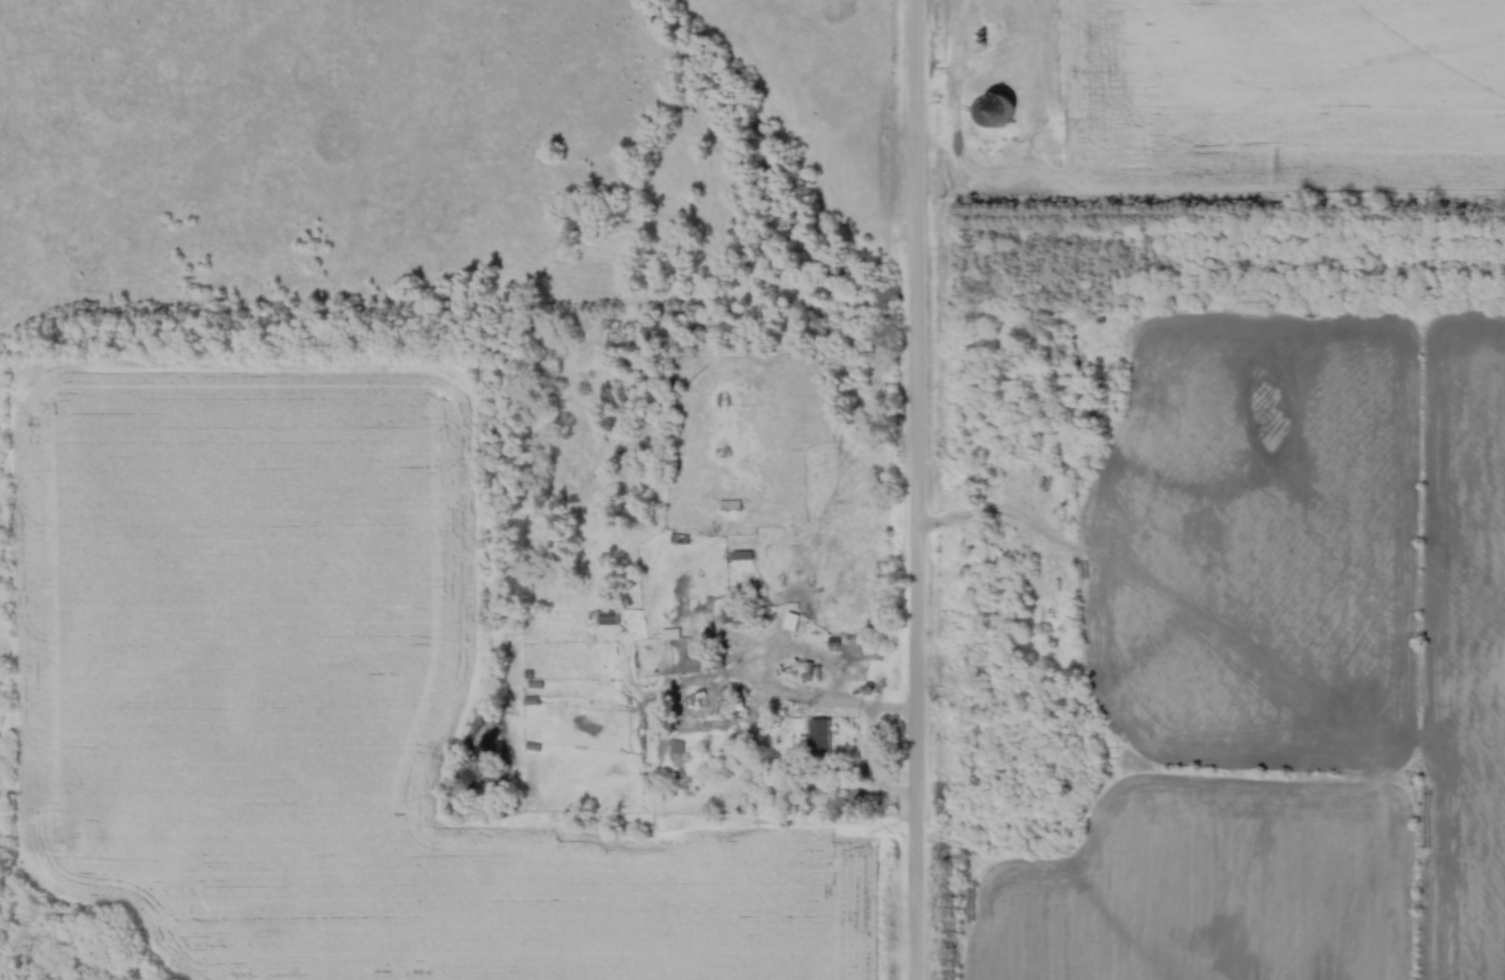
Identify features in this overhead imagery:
building: (1041, 189)
road: (919, 489)
building: (675, 551)
building: (609, 616)
building: (793, 622)
building: (664, 671)
road: (816, 702)
building: (820, 732)

